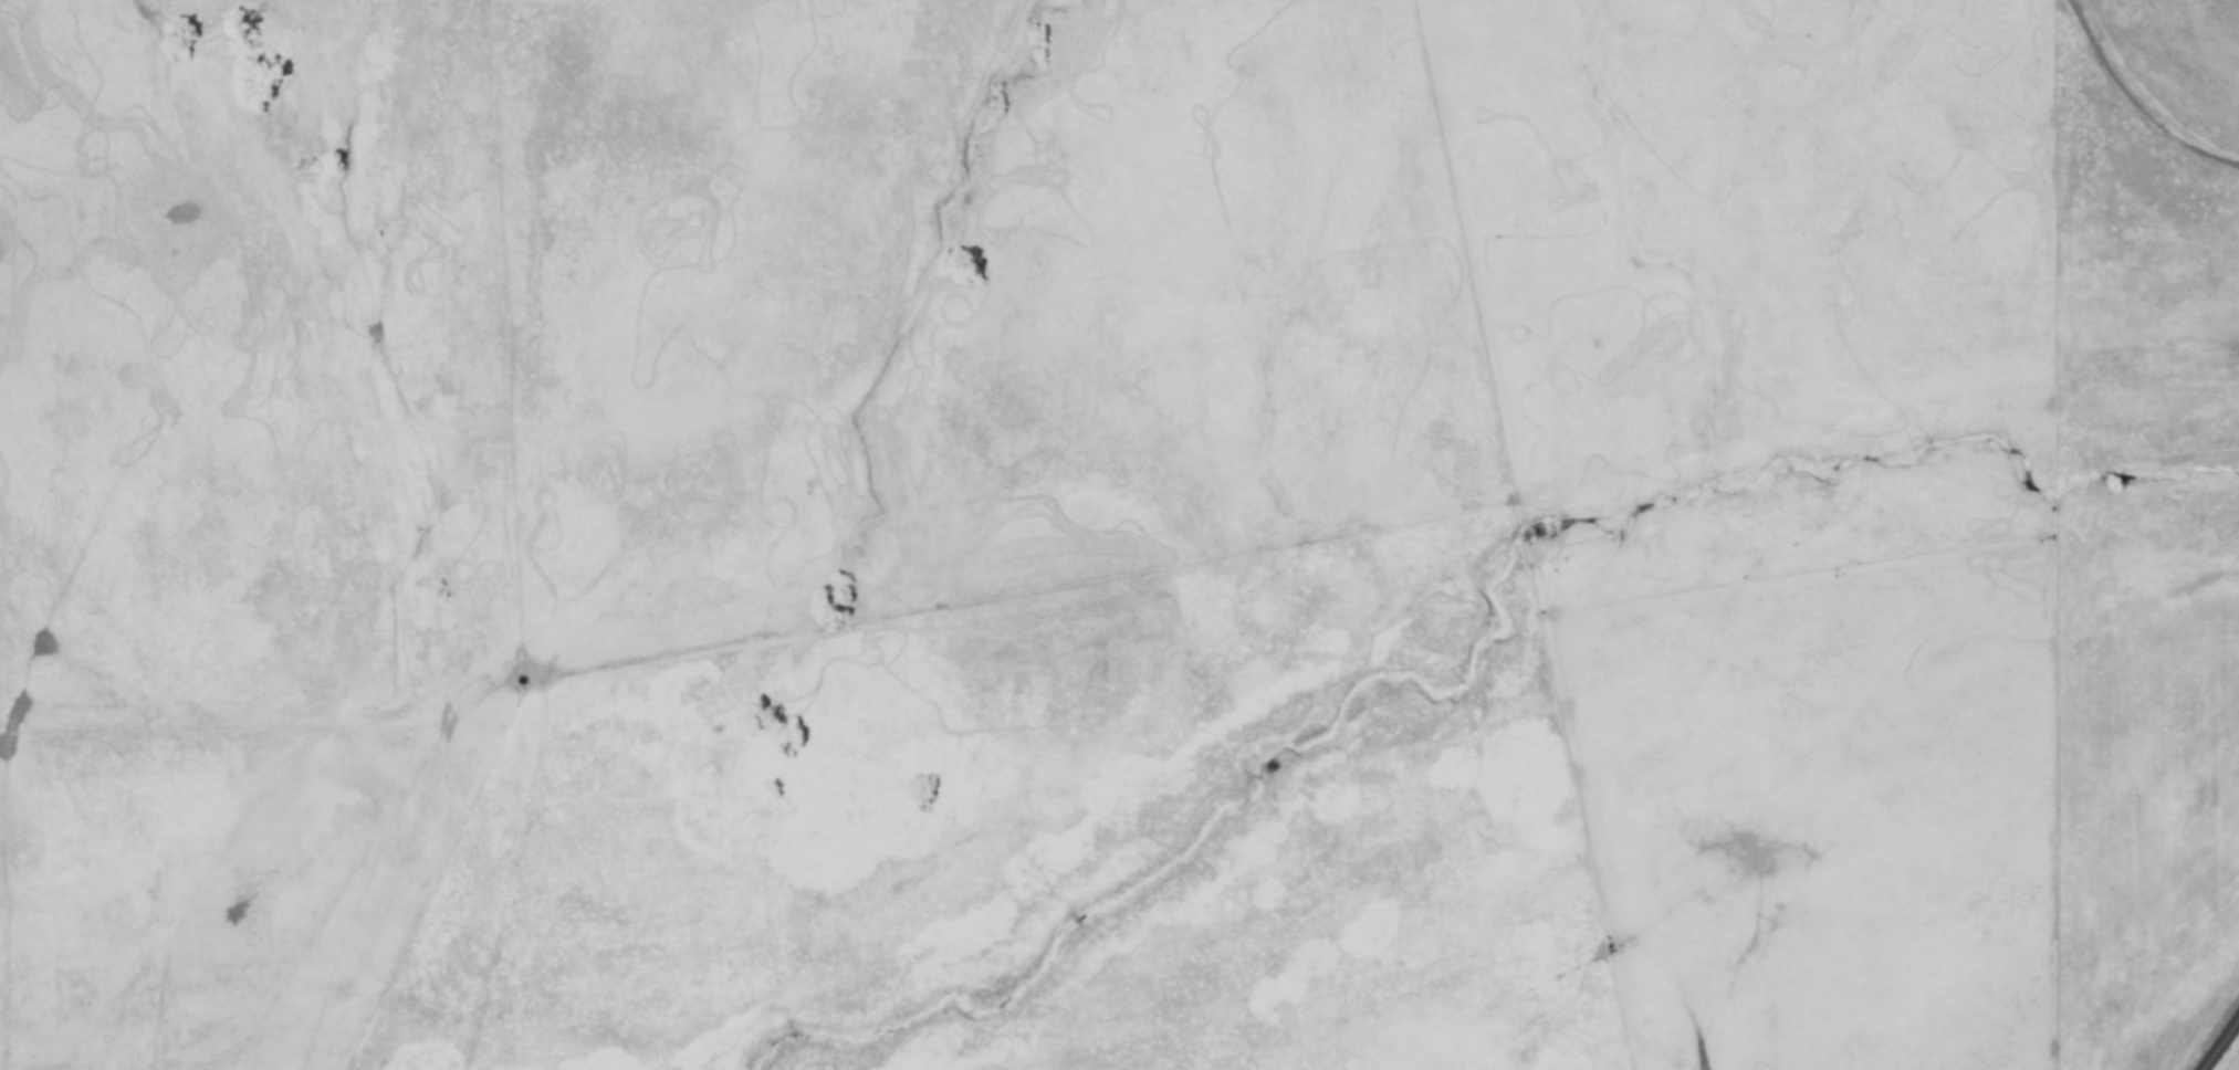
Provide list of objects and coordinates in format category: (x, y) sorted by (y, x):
road: (2154, 97)
road: (2224, 1050)

